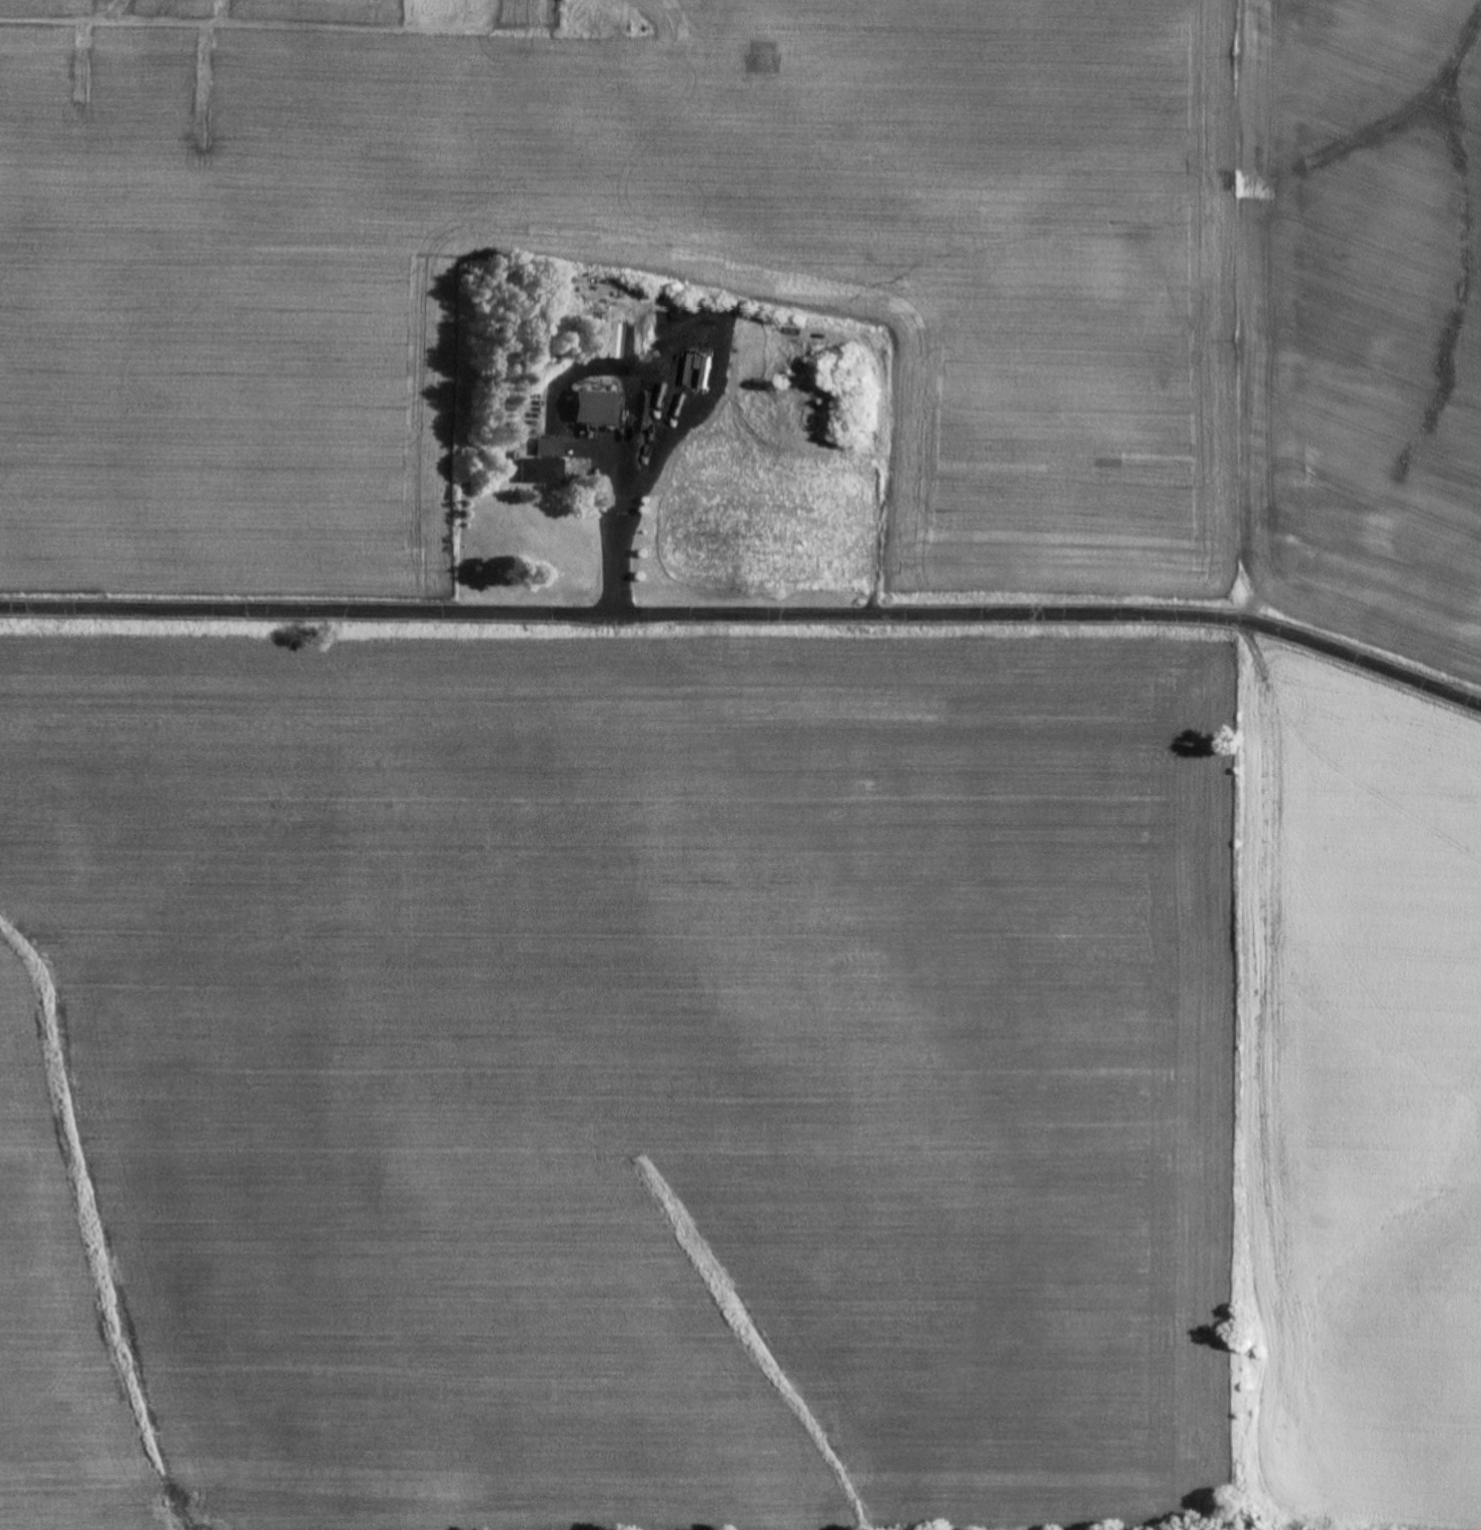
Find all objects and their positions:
building: (591, 343)
road: (629, 399)
building: (591, 410)
building: (538, 466)
road: (748, 617)

